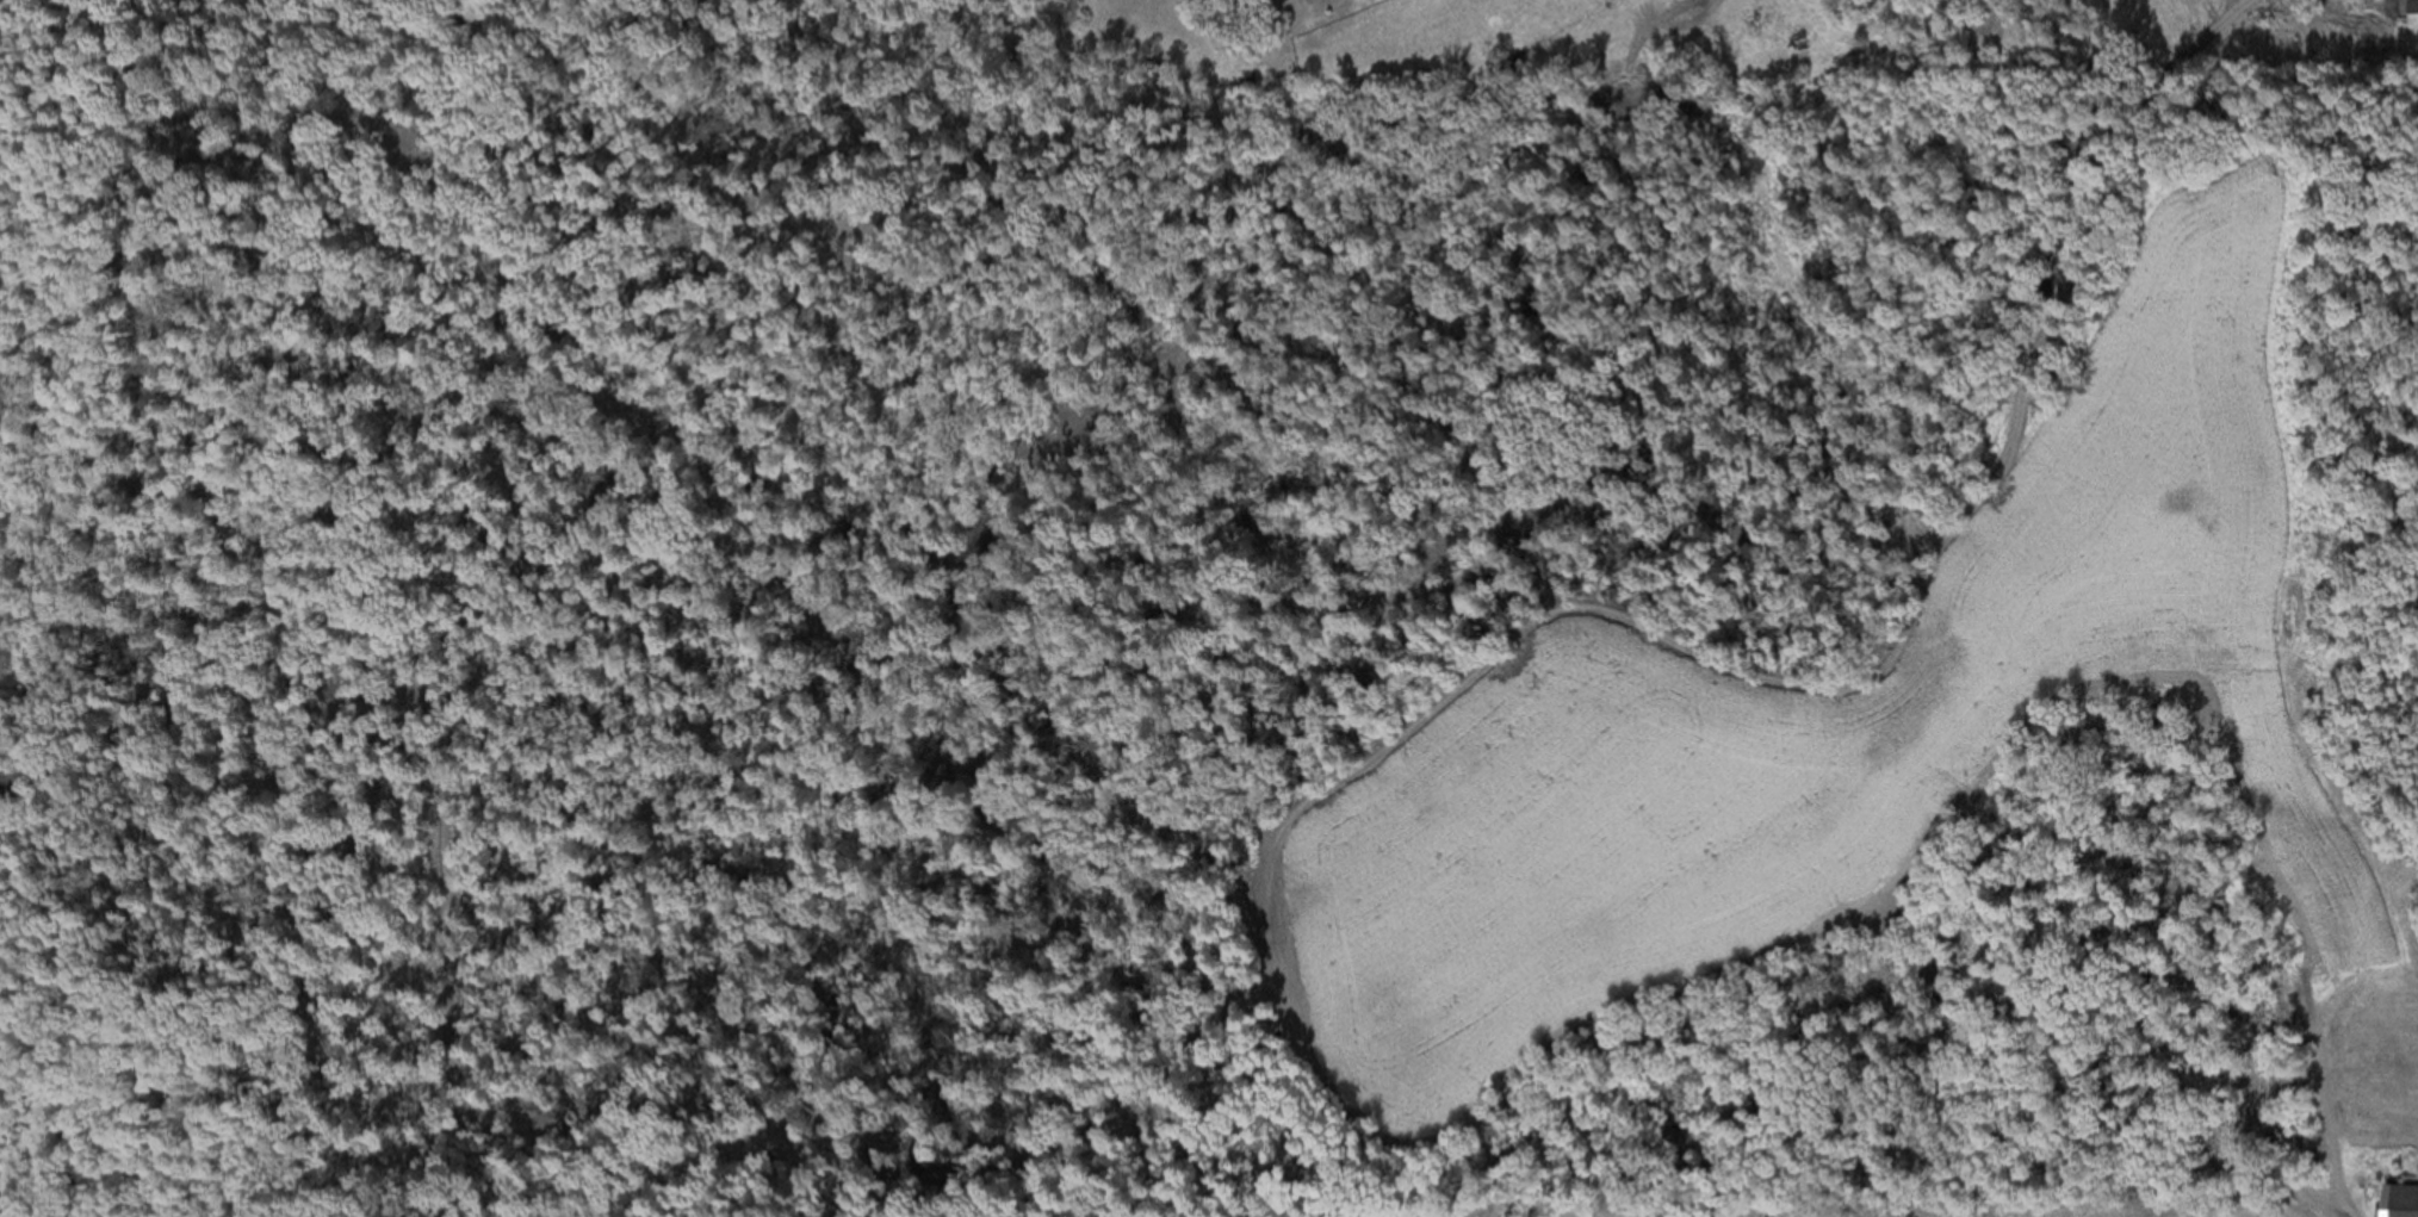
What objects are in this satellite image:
building: (2416, 13)
building: (2405, 1200)

